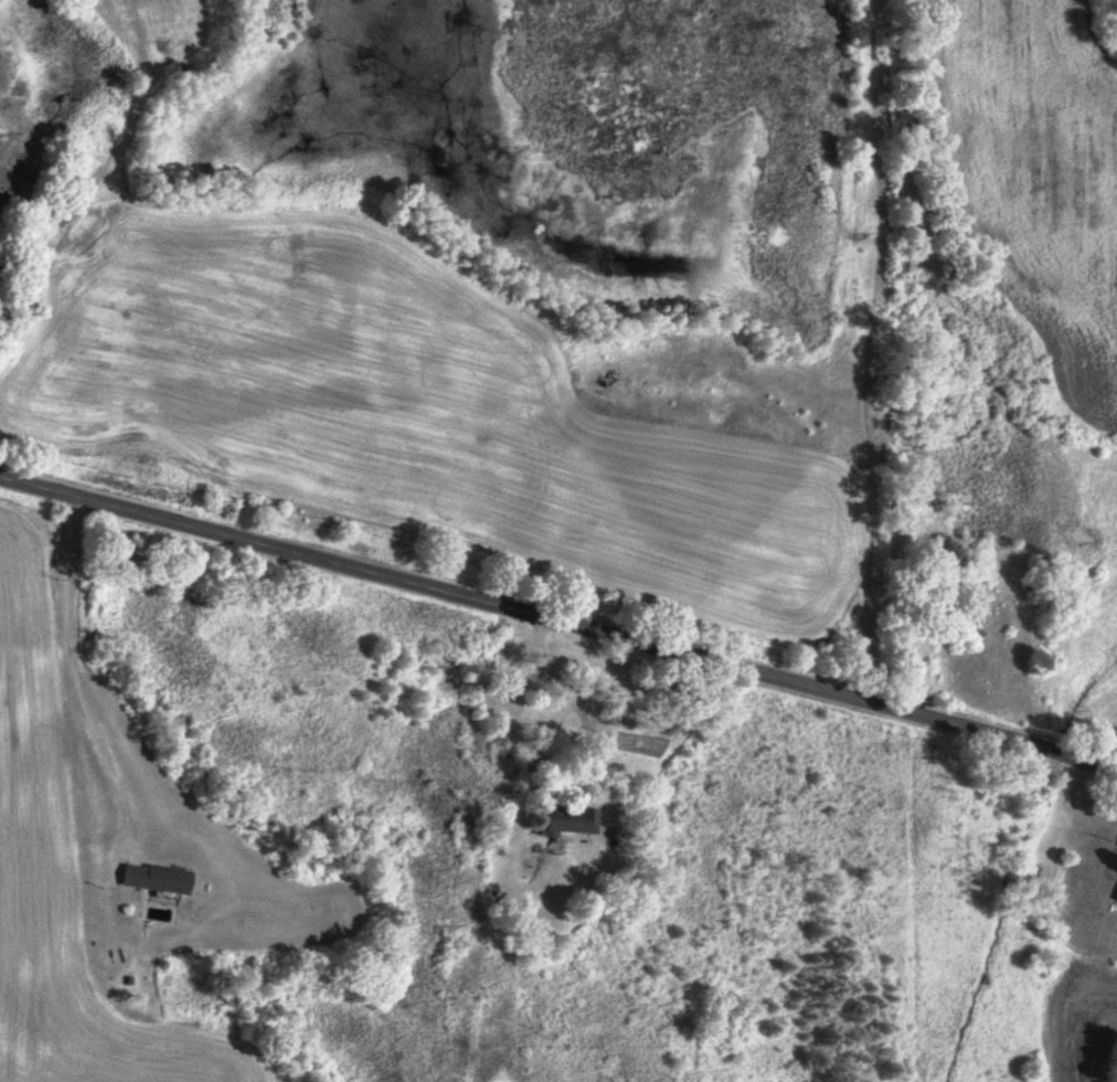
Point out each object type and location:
road: (561, 619)
road: (76, 673)
road: (582, 712)
building: (563, 820)
building: (151, 879)
building: (1115, 898)

